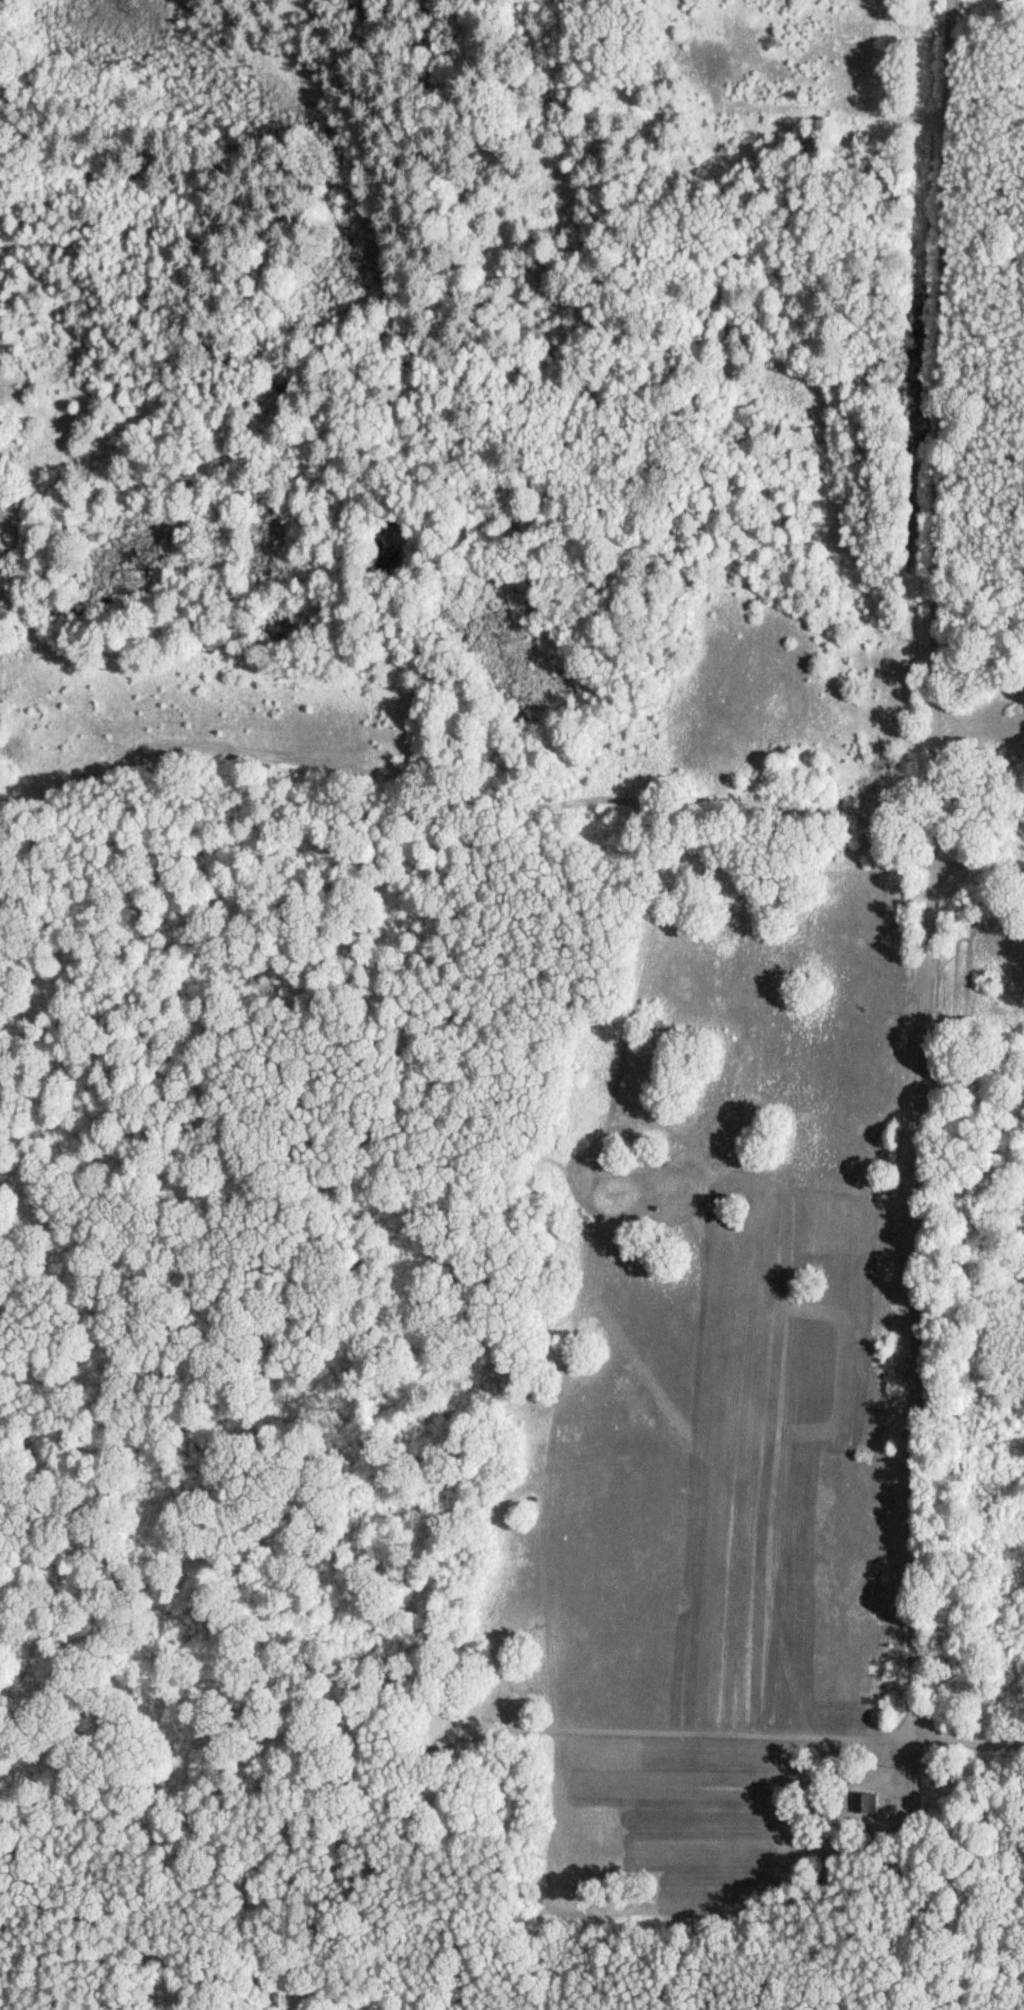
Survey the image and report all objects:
road: (977, 854)
road: (933, 864)
road: (772, 1732)
building: (865, 1805)

